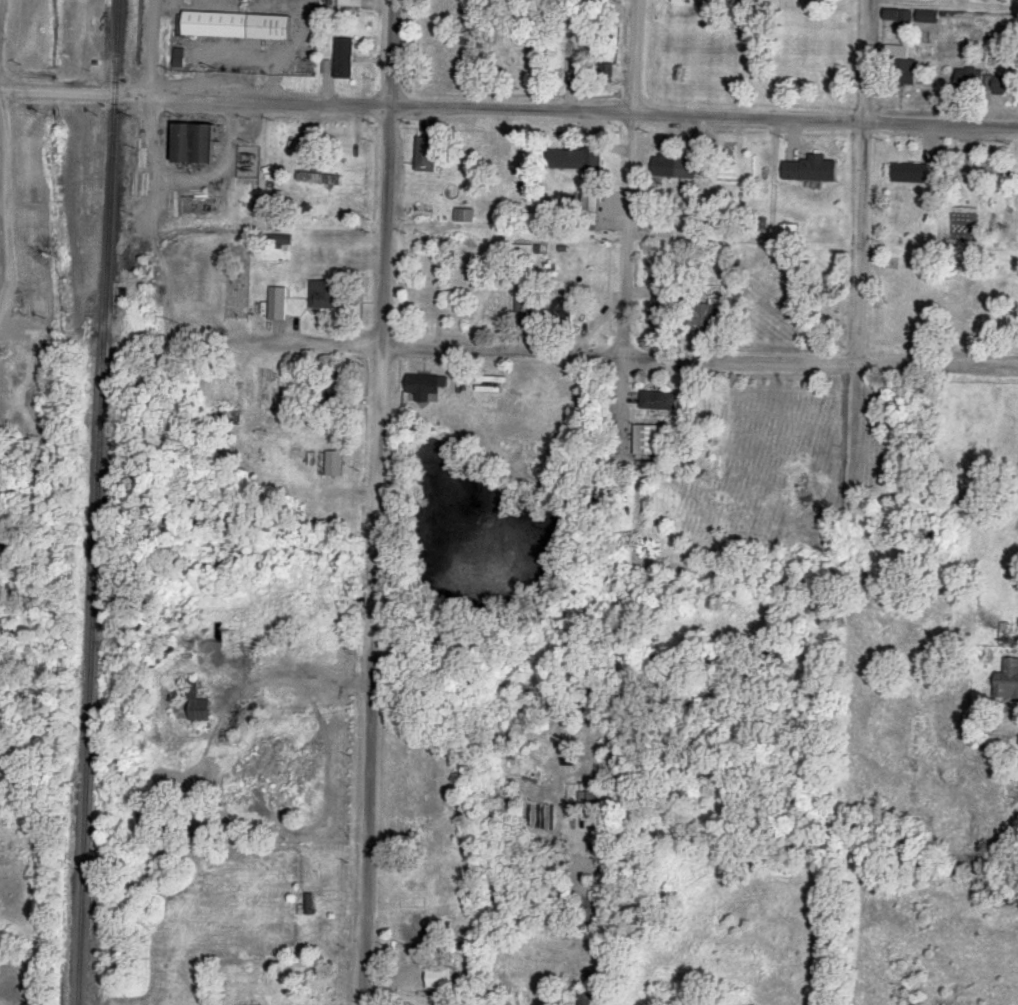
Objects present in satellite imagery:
building: (928, 17)
building: (239, 26)
building: (345, 58)
building: (534, 61)
building: (902, 65)
building: (969, 78)
road: (508, 107)
building: (198, 142)
building: (428, 154)
building: (575, 159)
building: (675, 167)
building: (807, 170)
road: (157, 171)
building: (911, 174)
road: (630, 178)
building: (321, 179)
building: (423, 210)
road: (864, 252)
building: (330, 294)
building: (278, 303)
building: (663, 303)
building: (525, 305)
building: (561, 308)
building: (492, 309)
building: (712, 316)
road: (24, 333)
road: (575, 355)
building: (425, 385)
building: (338, 387)
building: (659, 401)
building: (648, 441)
building: (330, 463)
railway: (96, 502)
road: (377, 502)
building: (1007, 680)
building: (198, 704)
road: (612, 916)
building: (416, 938)
building: (441, 976)
building: (581, 999)
building: (317, 1000)
building: (509, 1003)

